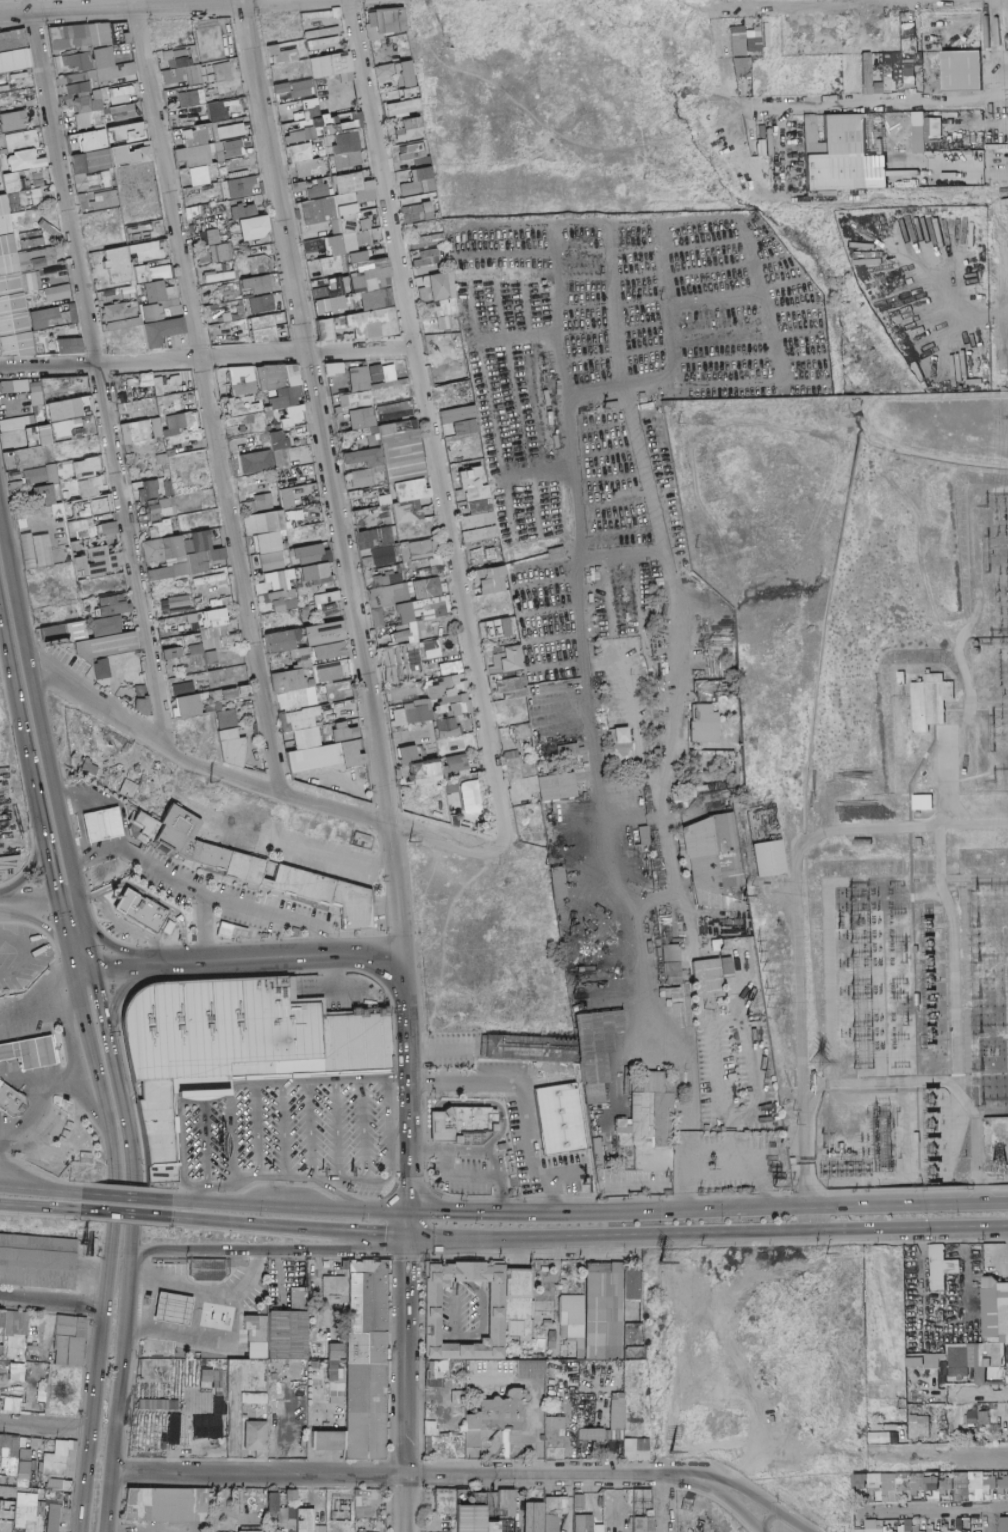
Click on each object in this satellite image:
power tower: (644, 179)
power tower: (670, 408)
power tower: (694, 546)
power substation: (869, 763)
gas station: (97, 821)
power tower: (739, 890)
gas station: (26, 1050)
power tower: (814, 1060)
park: (265, 1084)
gas station: (164, 1308)

